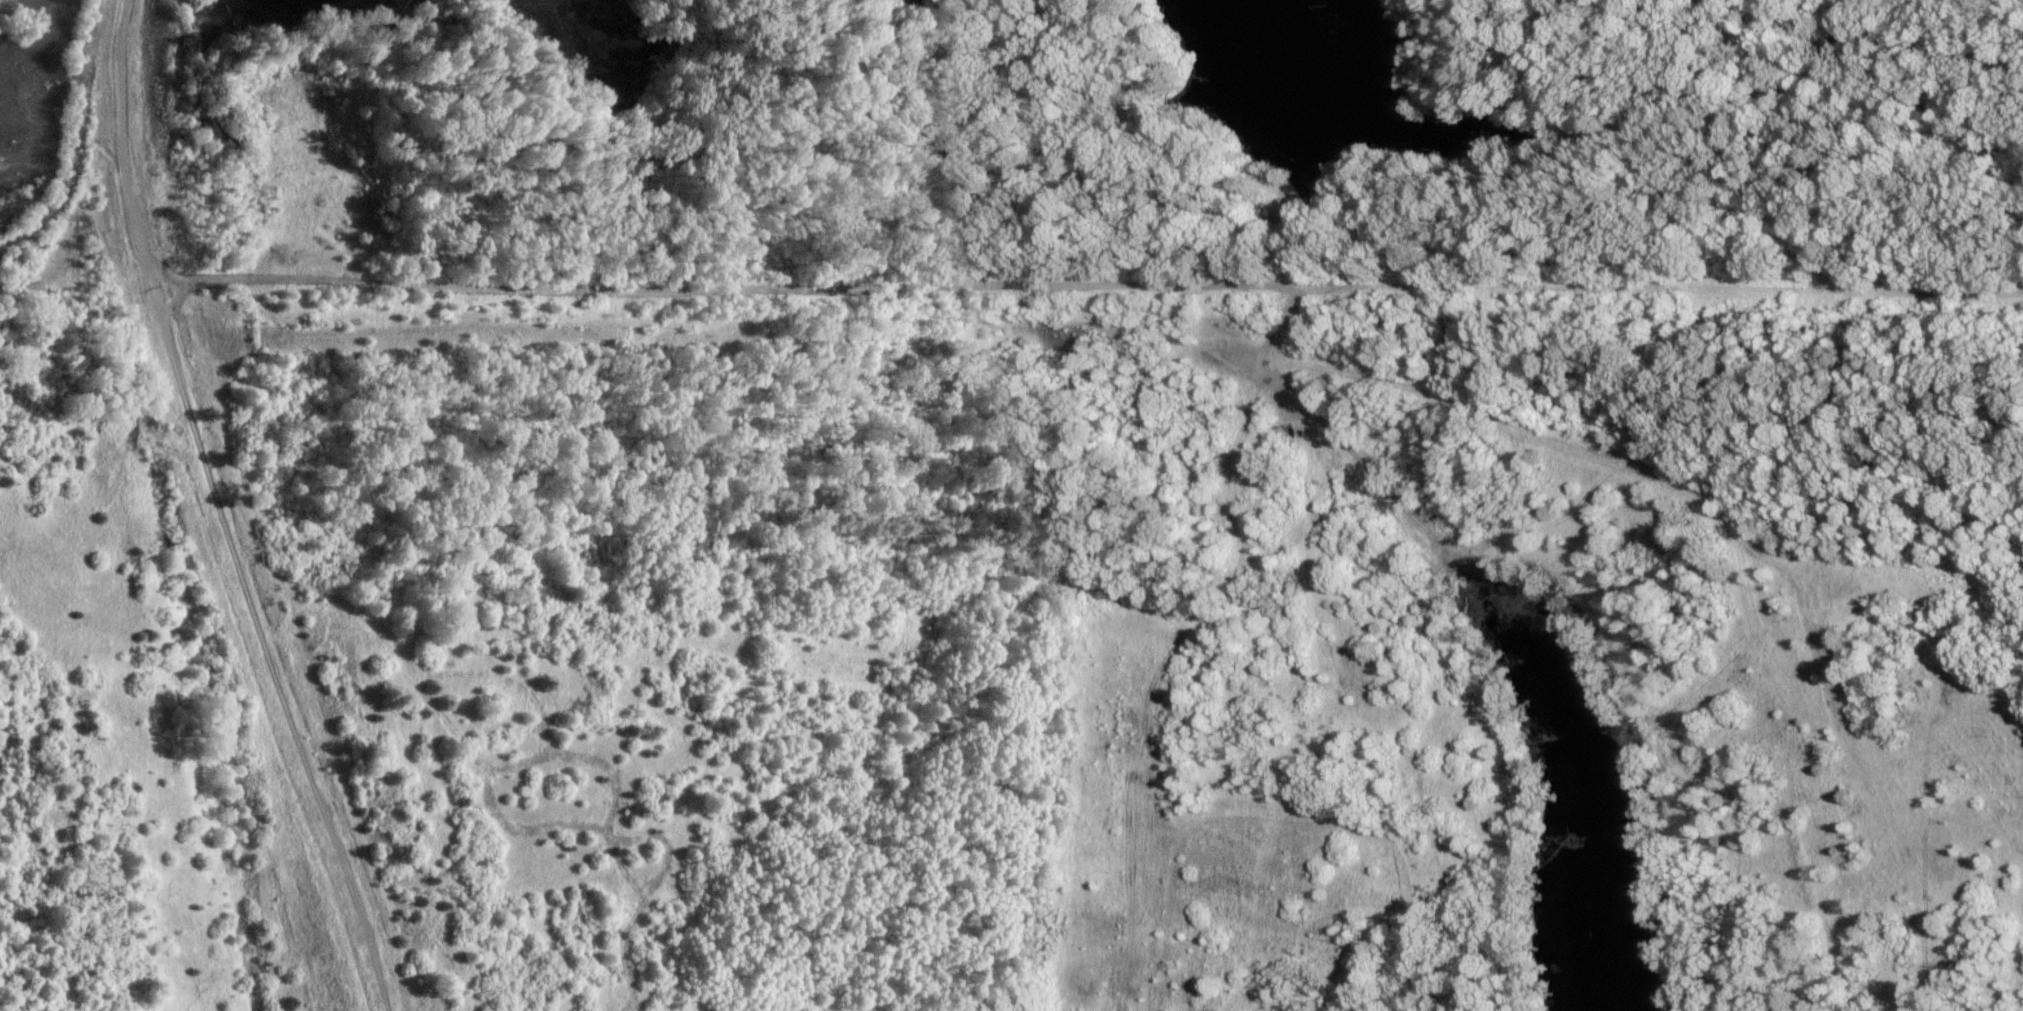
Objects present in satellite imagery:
road: (1011, 285)
road: (228, 511)

